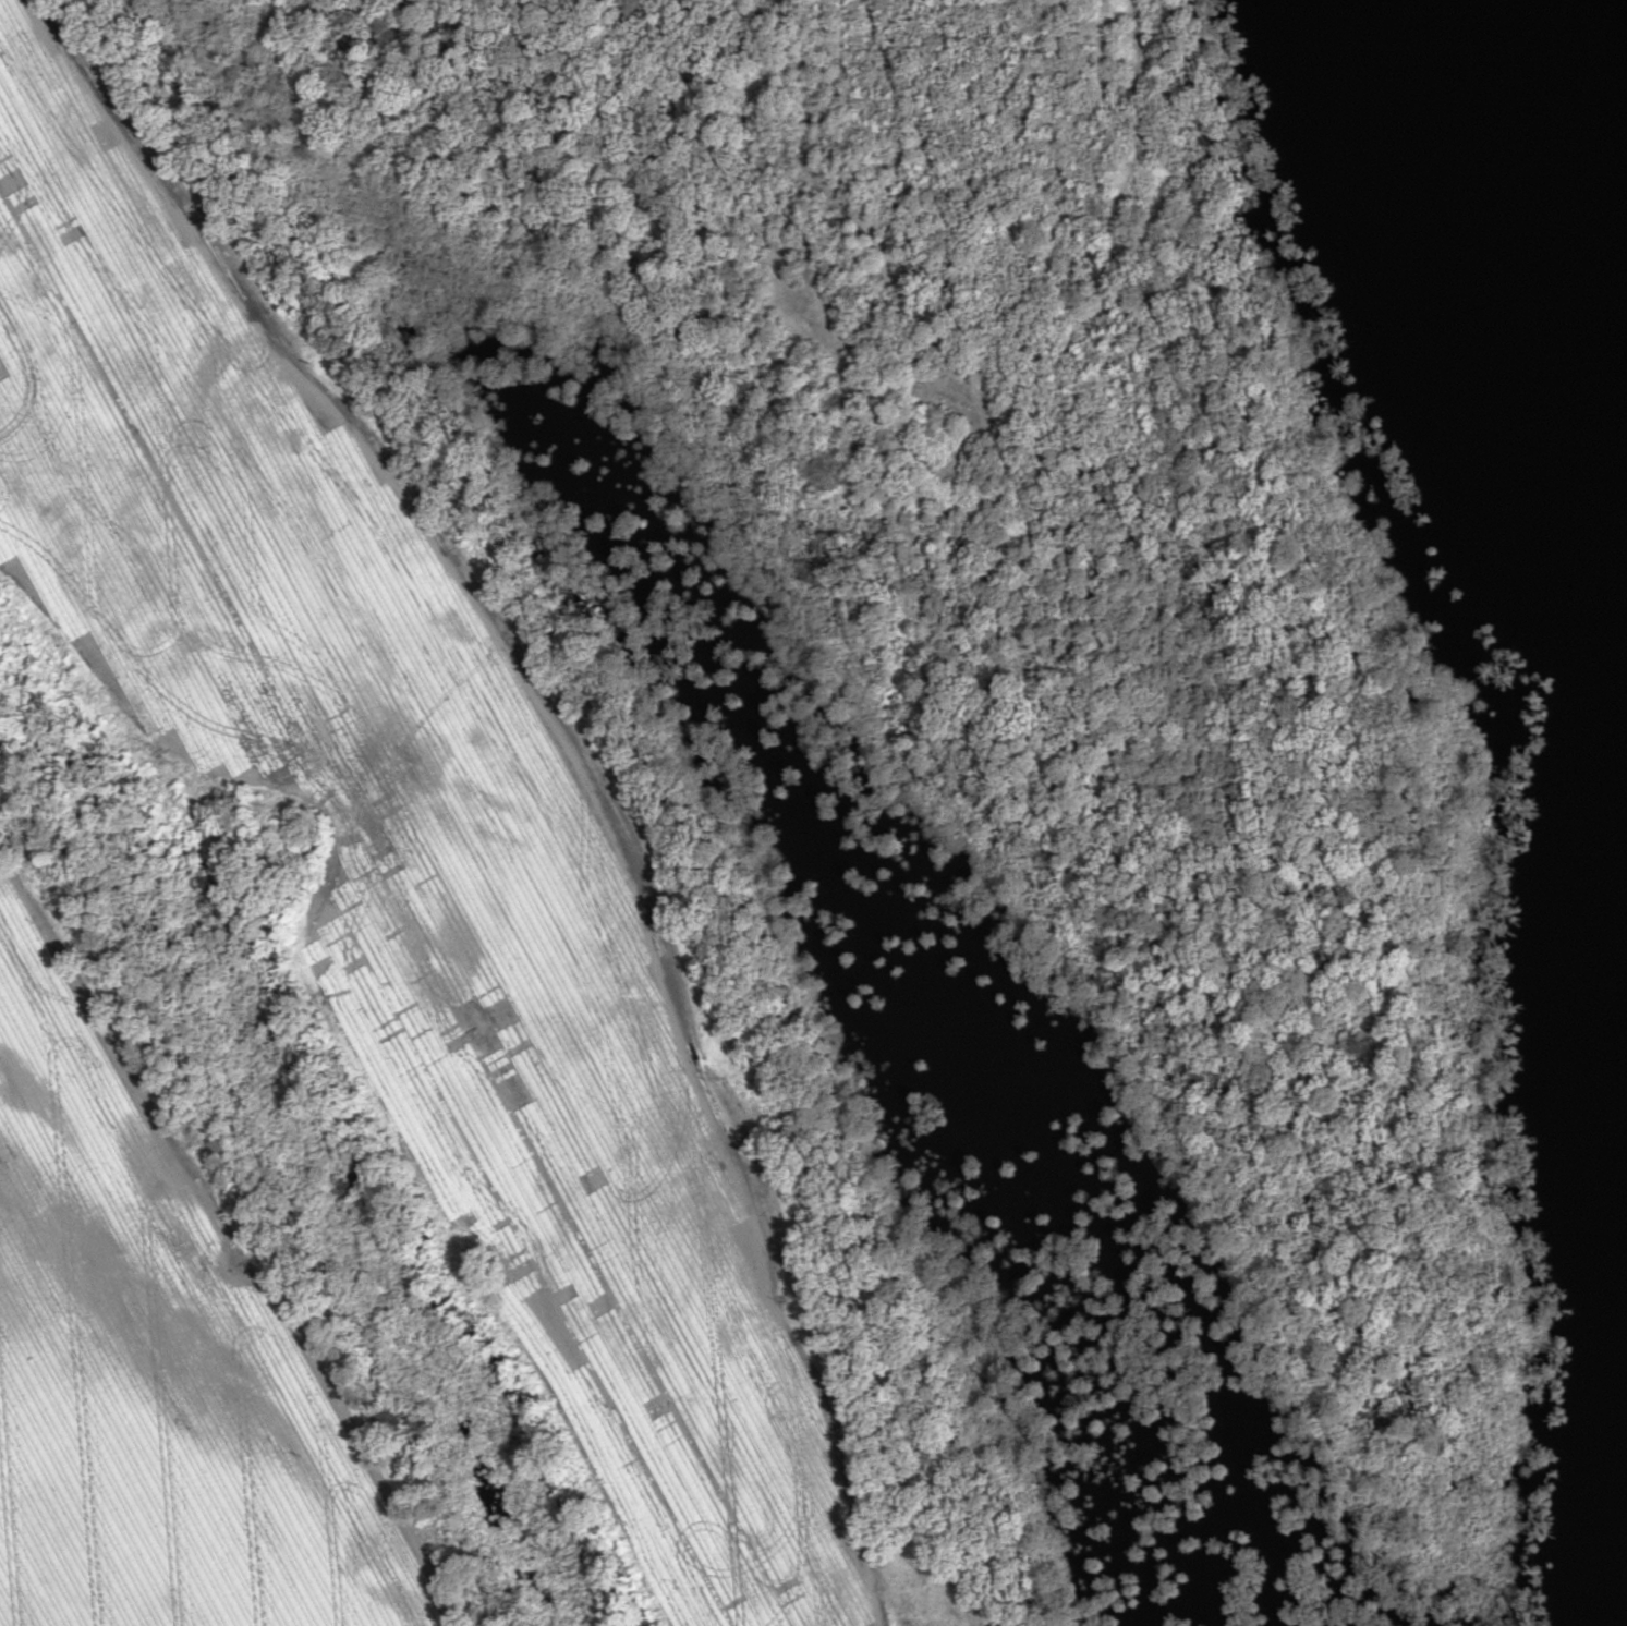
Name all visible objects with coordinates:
road: (597, 748)

